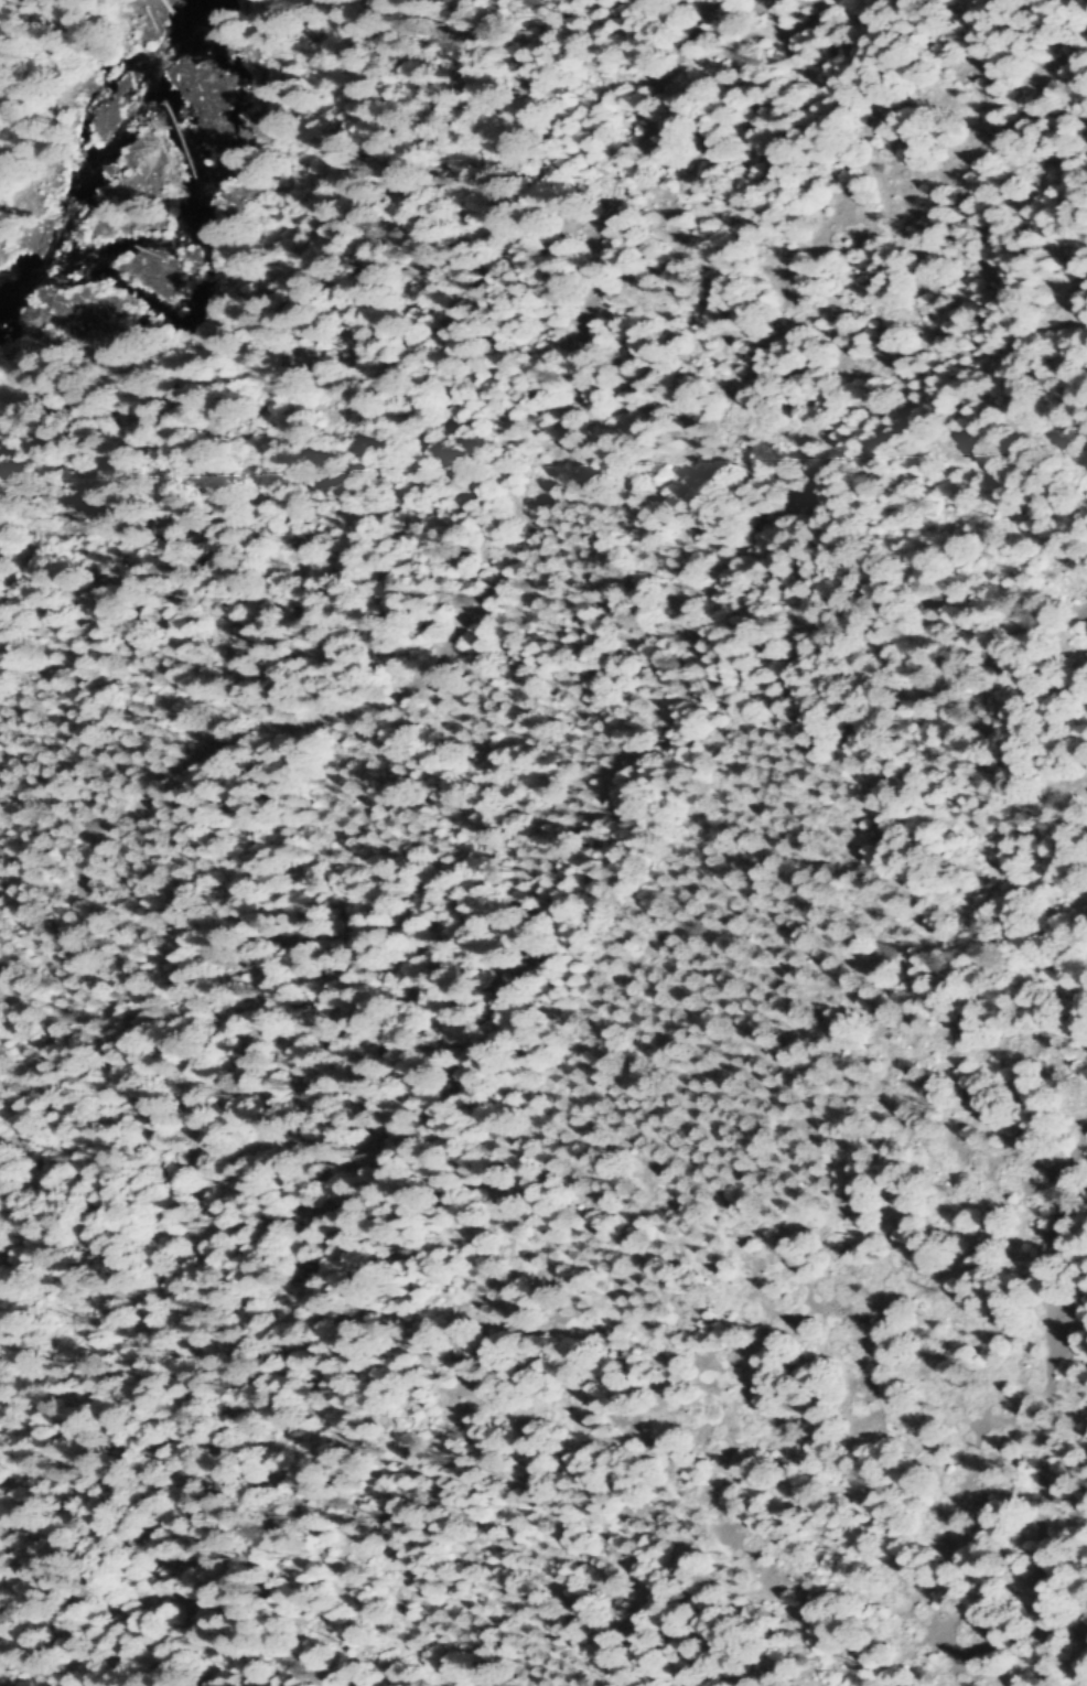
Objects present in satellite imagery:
river: (107, 148)
road: (250, 288)
road: (433, 656)
road: (1046, 1363)

